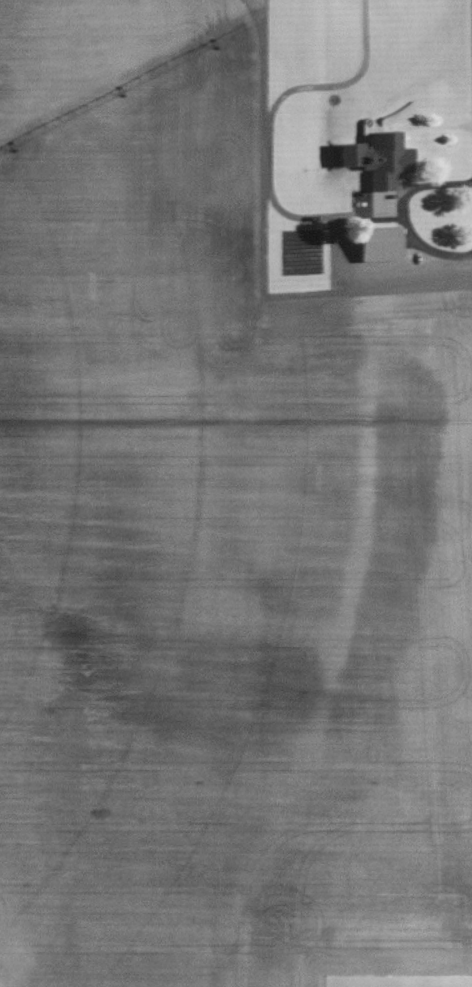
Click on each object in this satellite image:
building: (388, 162)
building: (382, 243)
road: (388, 280)

